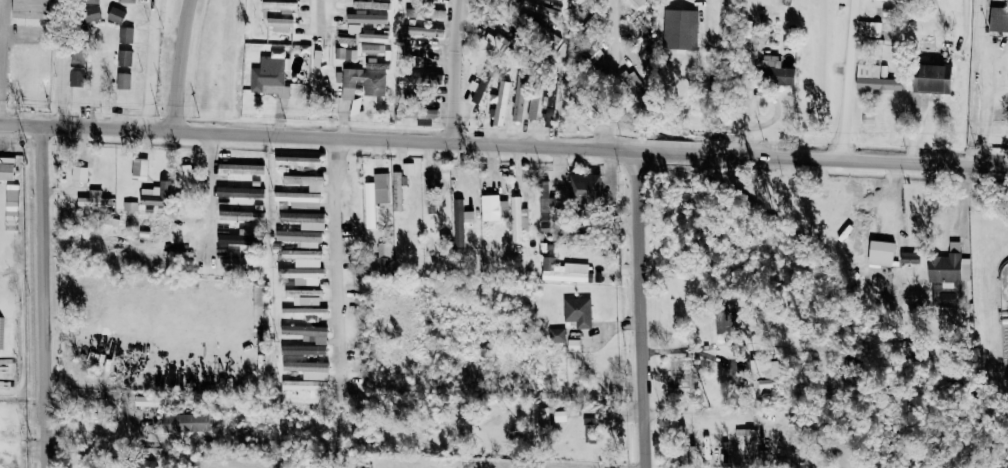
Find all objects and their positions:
building: (436, 0)
building: (894, 0)
building: (91, 1)
building: (127, 1)
building: (635, 3)
building: (371, 5)
building: (280, 6)
building: (585, 6)
building: (30, 9)
building: (541, 9)
road: (317, 11)
building: (422, 13)
building: (91, 14)
building: (115, 15)
building: (365, 17)
building: (631, 19)
building: (998, 19)
building: (278, 24)
building: (868, 28)
building: (423, 31)
building: (681, 31)
road: (19, 34)
building: (125, 35)
building: (372, 36)
building: (498, 42)
building: (369, 48)
building: (420, 49)
building: (345, 53)
building: (124, 58)
road: (4, 63)
road: (63, 64)
road: (155, 66)
road: (187, 66)
road: (455, 72)
building: (269, 77)
road: (713, 77)
building: (76, 78)
building: (420, 78)
road: (619, 78)
building: (875, 78)
building: (932, 78)
building: (122, 80)
road: (852, 80)
road: (985, 84)
building: (374, 88)
building: (478, 88)
building: (519, 98)
building: (500, 101)
building: (548, 101)
building: (533, 105)
road: (743, 111)
building: (867, 119)
road: (503, 146)
building: (297, 160)
building: (139, 168)
building: (240, 168)
building: (407, 168)
building: (8, 170)
building: (78, 174)
building: (187, 180)
building: (306, 181)
building: (584, 186)
building: (396, 191)
building: (239, 192)
building: (156, 195)
building: (430, 195)
road: (208, 196)
building: (375, 196)
building: (299, 199)
building: (11, 200)
building: (93, 200)
building: (548, 202)
building: (129, 206)
building: (494, 208)
building: (240, 215)
building: (304, 219)
building: (518, 219)
building: (460, 221)
building: (153, 224)
building: (298, 236)
building: (221, 251)
building: (880, 253)
building: (171, 254)
building: (301, 254)
building: (383, 256)
building: (909, 257)
building: (238, 261)
road: (337, 267)
building: (949, 268)
building: (563, 271)
building: (303, 275)
building: (304, 295)
road: (50, 298)
road: (643, 310)
building: (304, 311)
building: (577, 311)
building: (725, 319)
building: (0, 331)
building: (306, 332)
building: (556, 335)
building: (573, 345)
road: (689, 348)
building: (303, 350)
building: (305, 366)
building: (765, 373)
building: (304, 386)
building: (146, 401)
building: (559, 416)
building: (543, 417)
building: (185, 423)
building: (589, 430)
road: (97, 434)
building: (748, 446)
road: (559, 465)

